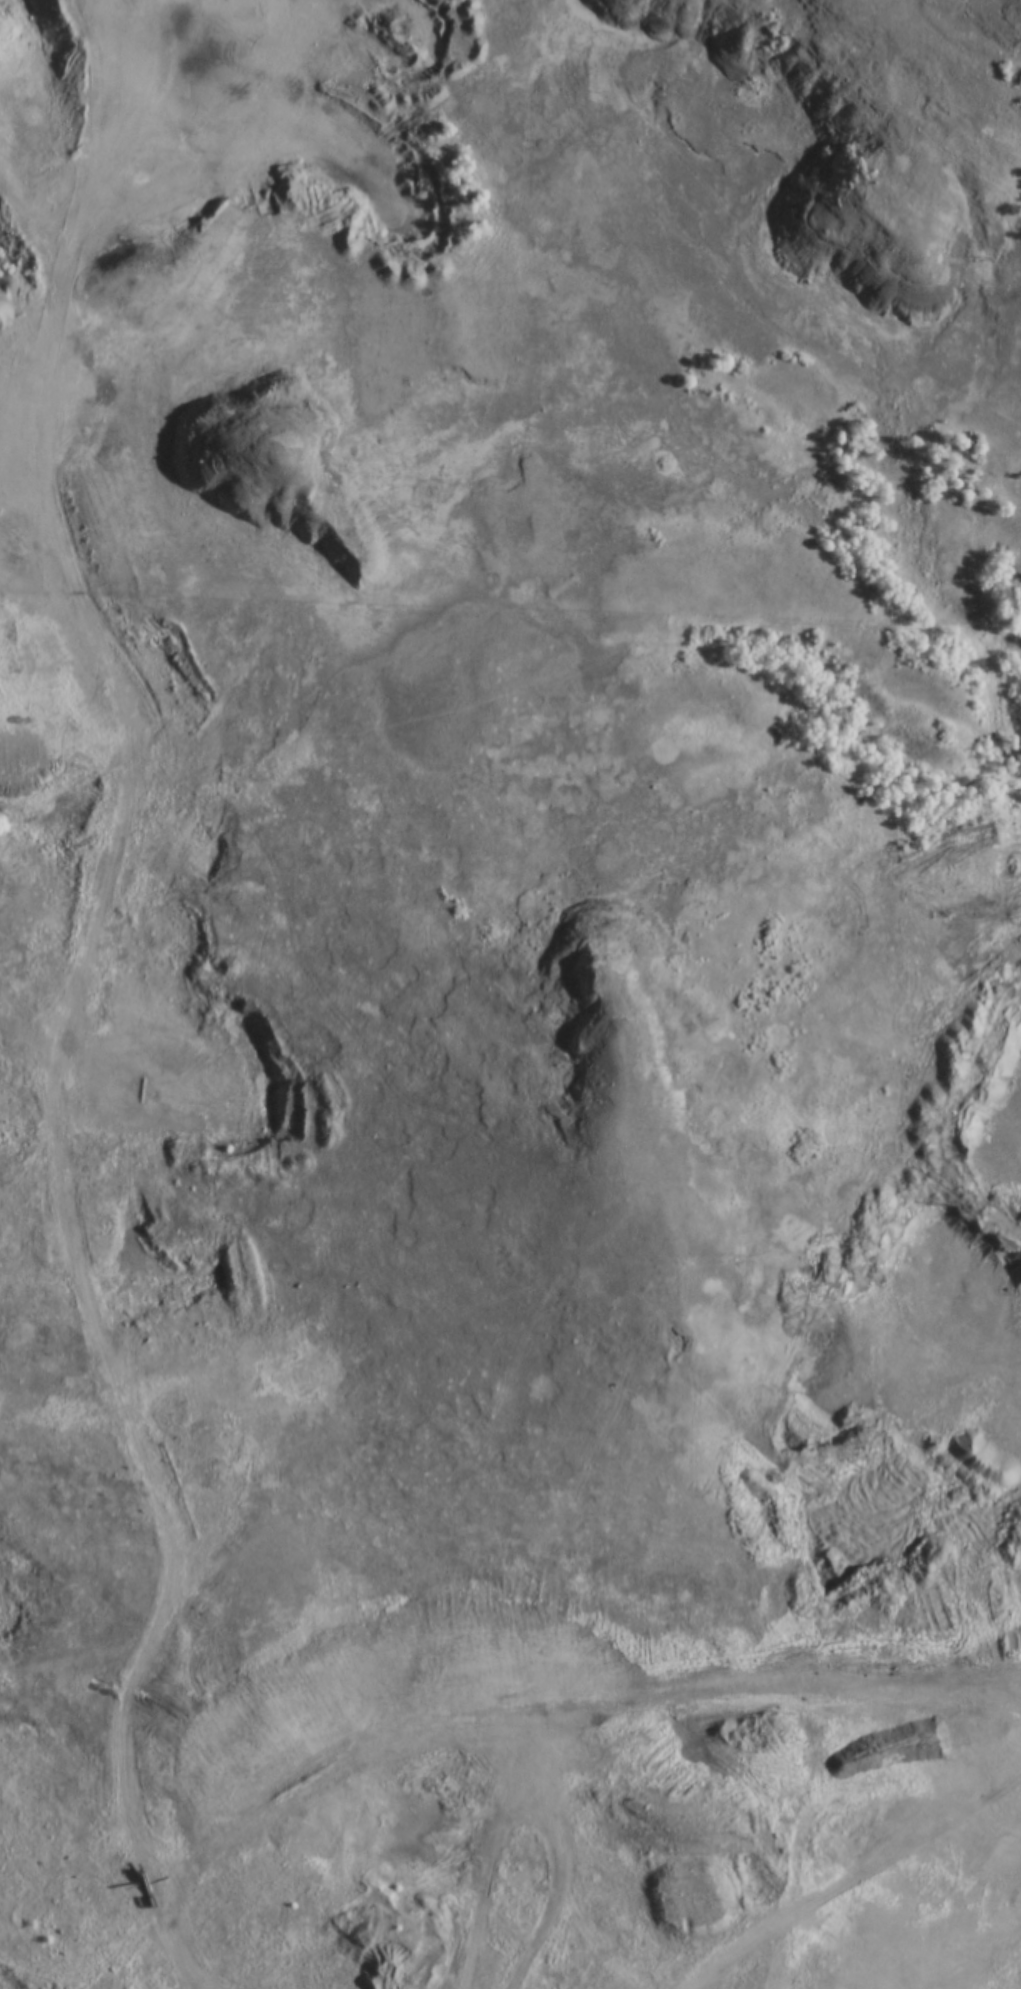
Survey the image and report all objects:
quarry: (130, 1245)
road: (0, 1318)

